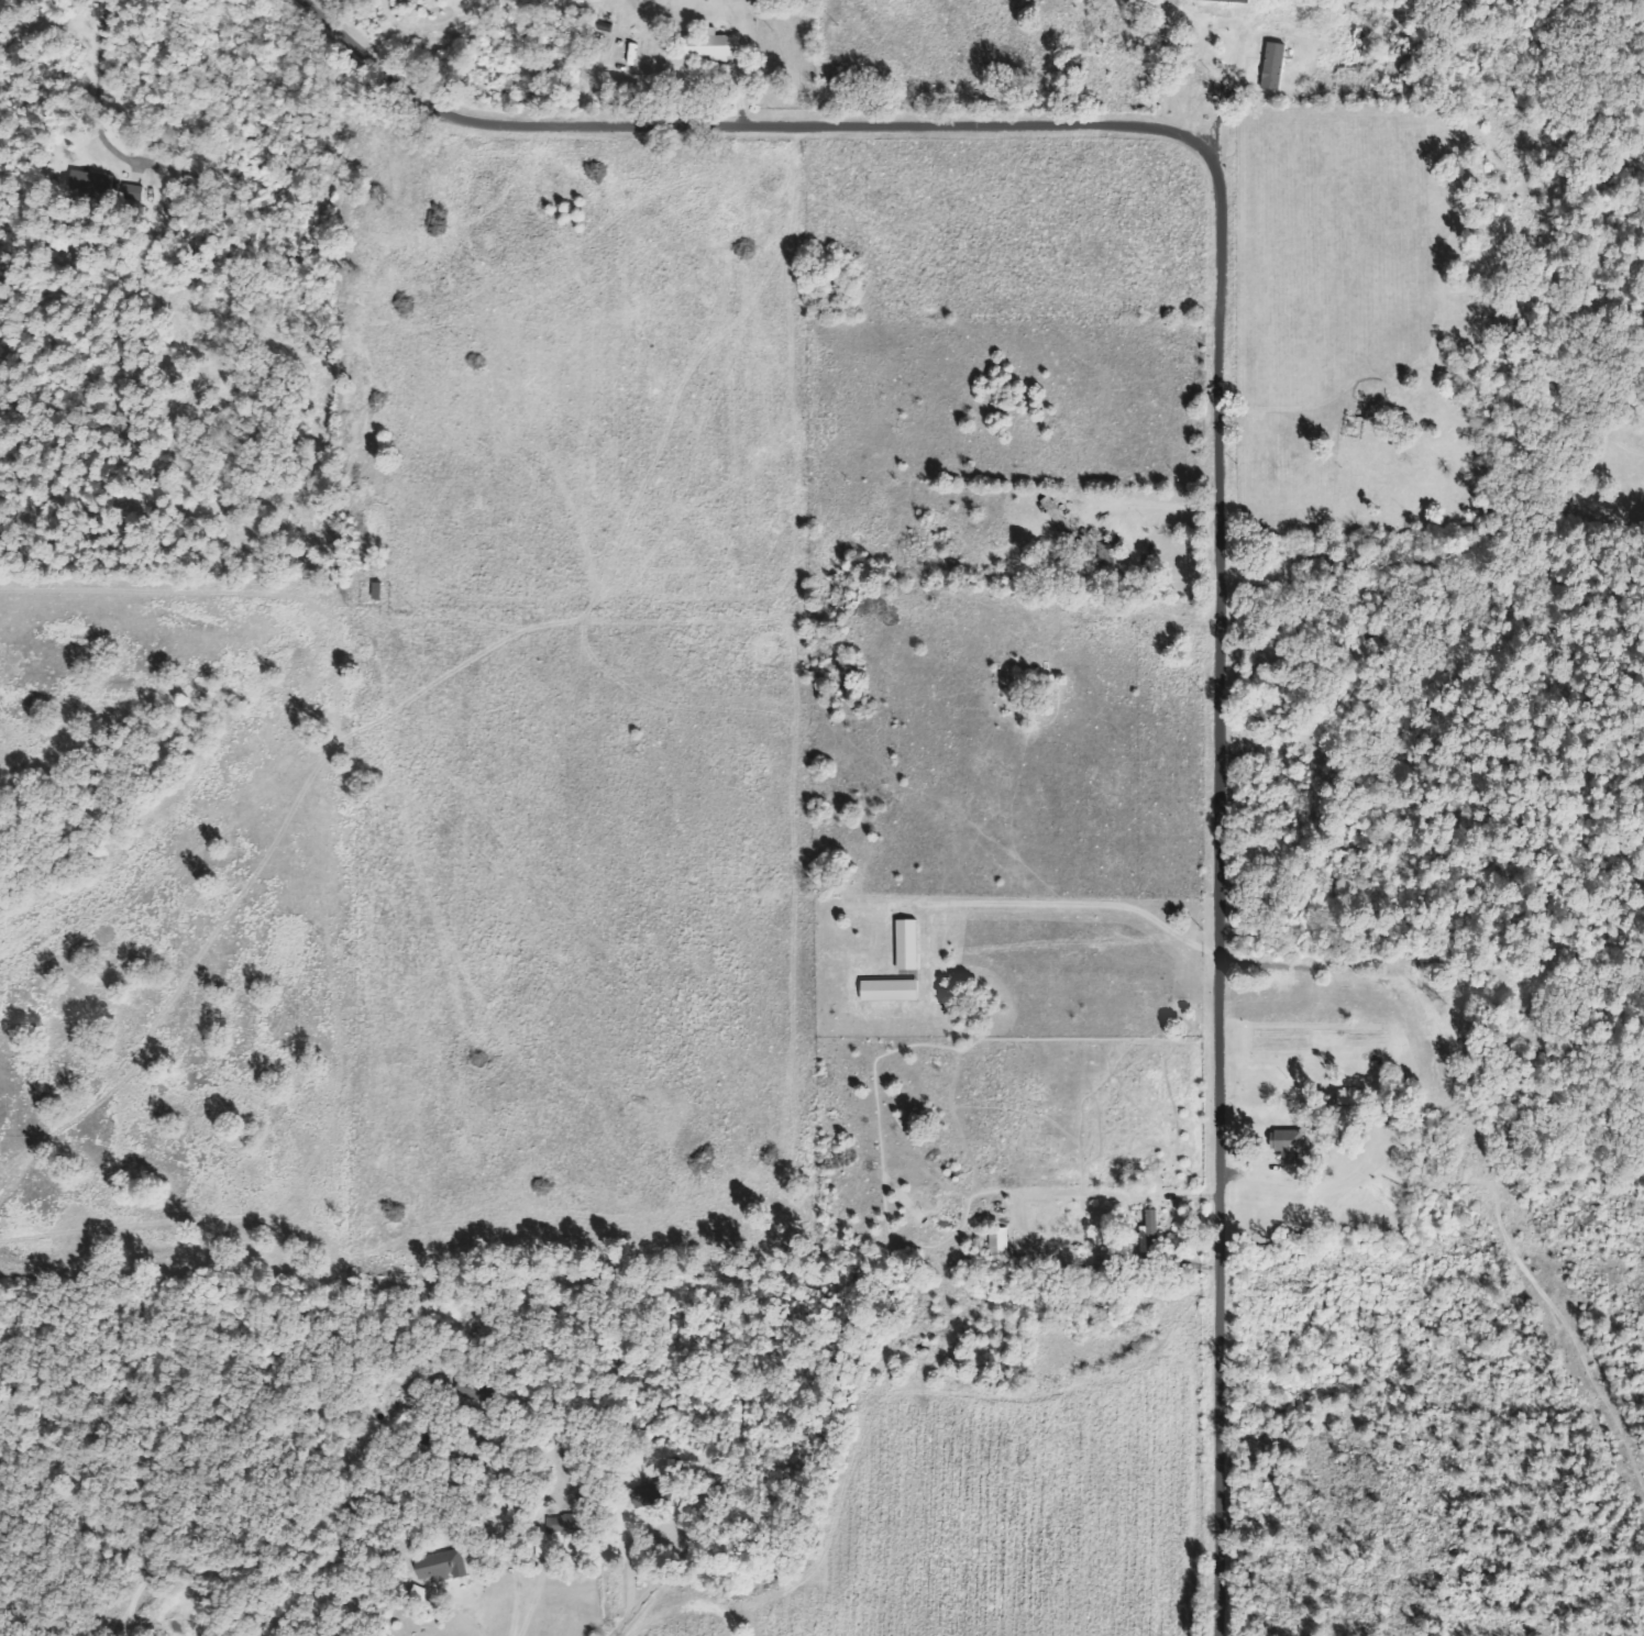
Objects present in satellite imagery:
building: (1226, 4)
building: (716, 46)
building: (1276, 67)
building: (96, 183)
road: (1220, 416)
building: (911, 944)
building: (1291, 1146)
building: (1154, 1220)
building: (1002, 1242)
building: (657, 1493)
building: (443, 1567)
road: (650, 1582)

